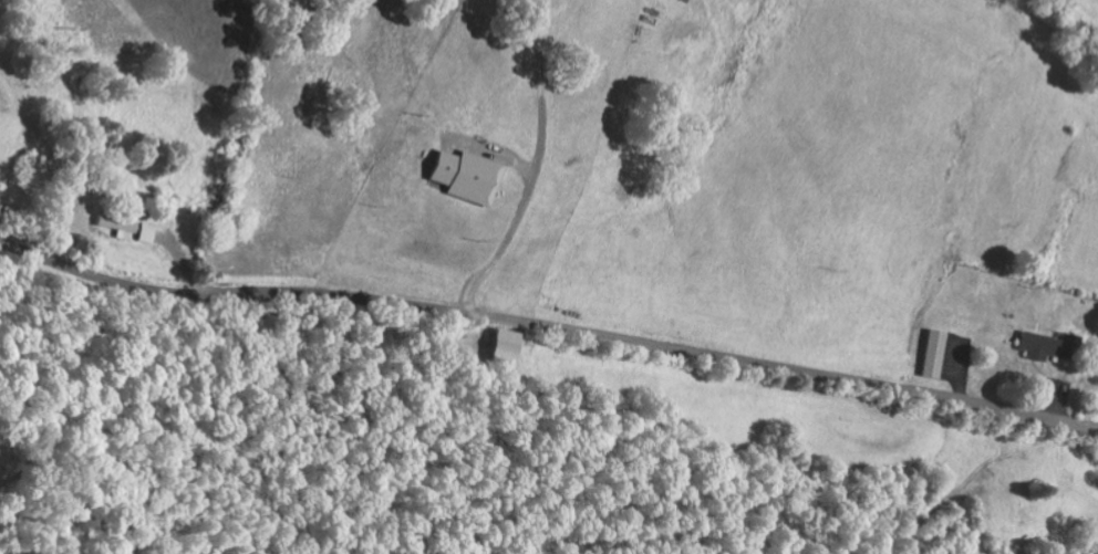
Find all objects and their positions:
road: (521, 126)
building: (473, 177)
building: (122, 224)
building: (151, 234)
road: (548, 327)
building: (511, 347)
building: (1048, 347)
building: (939, 355)

